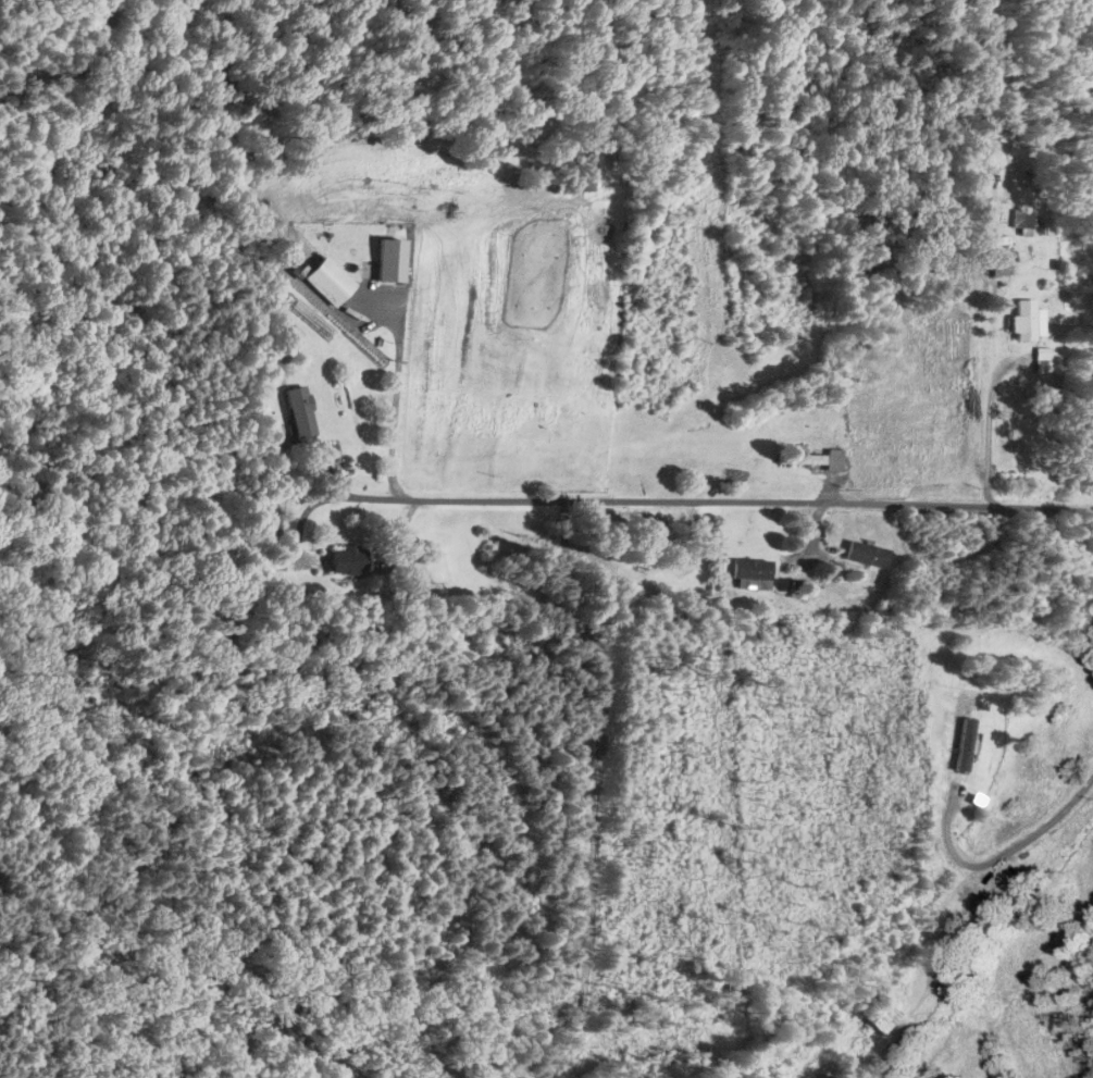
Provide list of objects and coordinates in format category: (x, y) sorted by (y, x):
building: (579, 178)
building: (1014, 219)
building: (389, 261)
building: (998, 264)
building: (327, 282)
building: (1021, 320)
road: (396, 395)
building: (298, 412)
road: (986, 429)
building: (812, 460)
road: (718, 503)
road: (300, 521)
building: (866, 555)
building: (349, 560)
building: (750, 574)
road: (997, 855)
building: (880, 1015)

